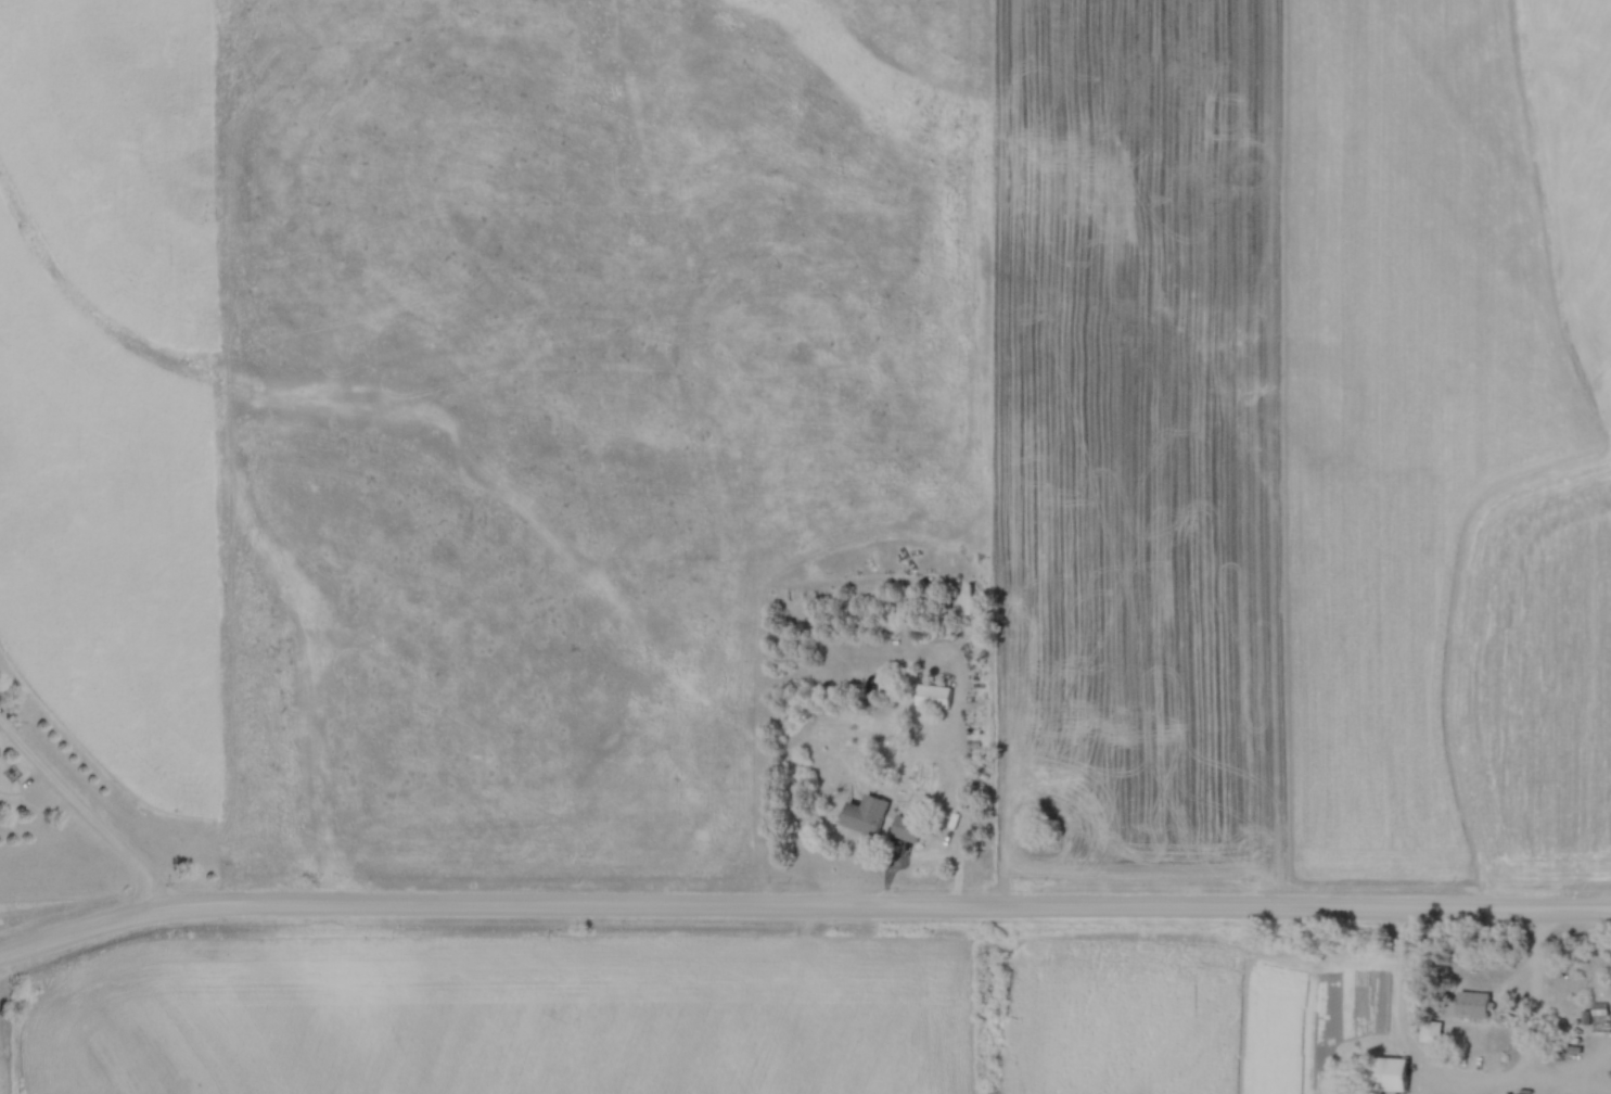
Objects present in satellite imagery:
building: (936, 697)
building: (868, 816)
road: (81, 819)
building: (909, 830)
road: (802, 913)
building: (1473, 1003)
building: (1430, 1029)
building: (1388, 1071)
road: (1472, 1086)

